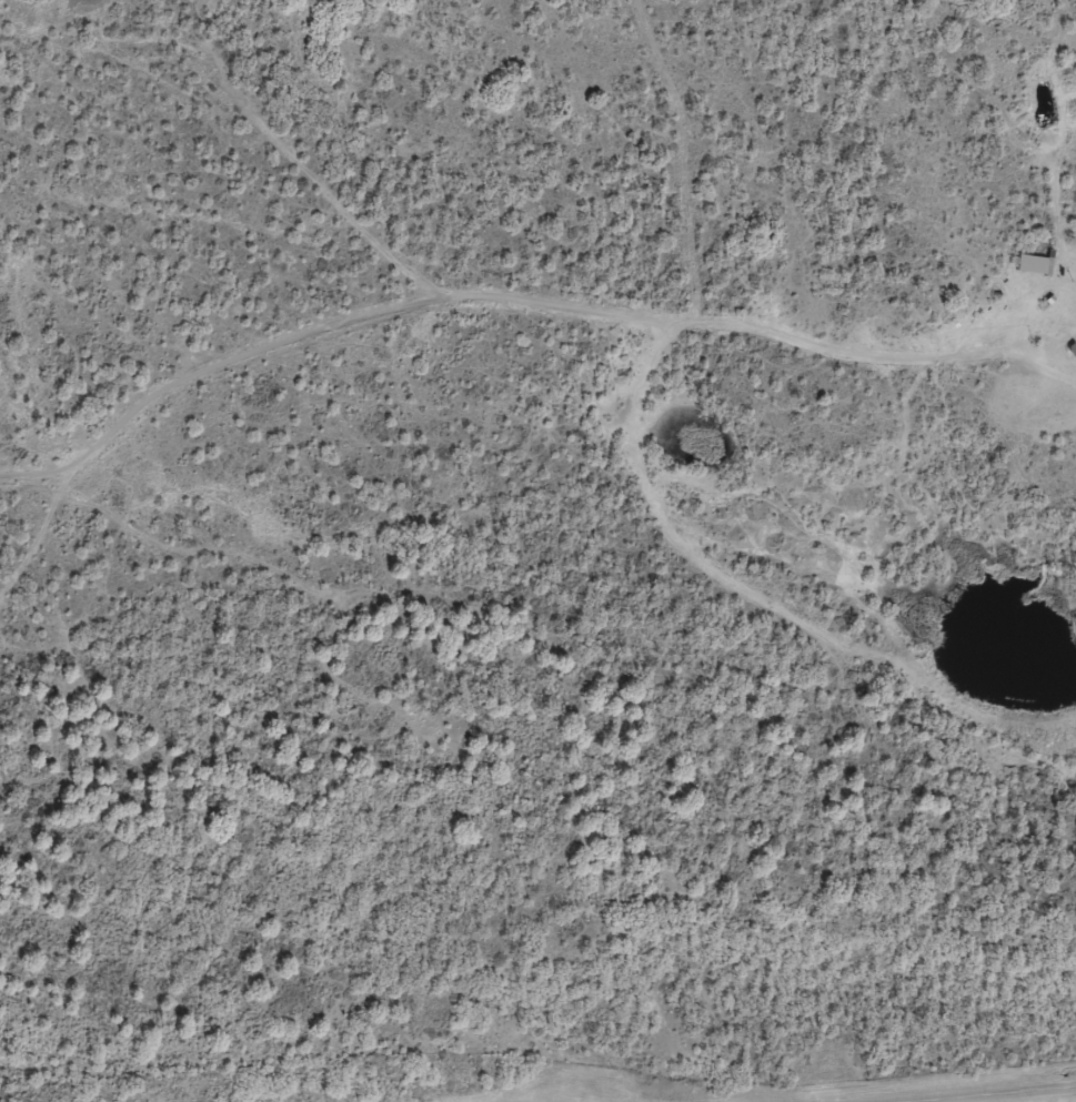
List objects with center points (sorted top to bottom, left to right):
building: (1028, 273)
road: (1047, 378)
road: (1005, 1094)

